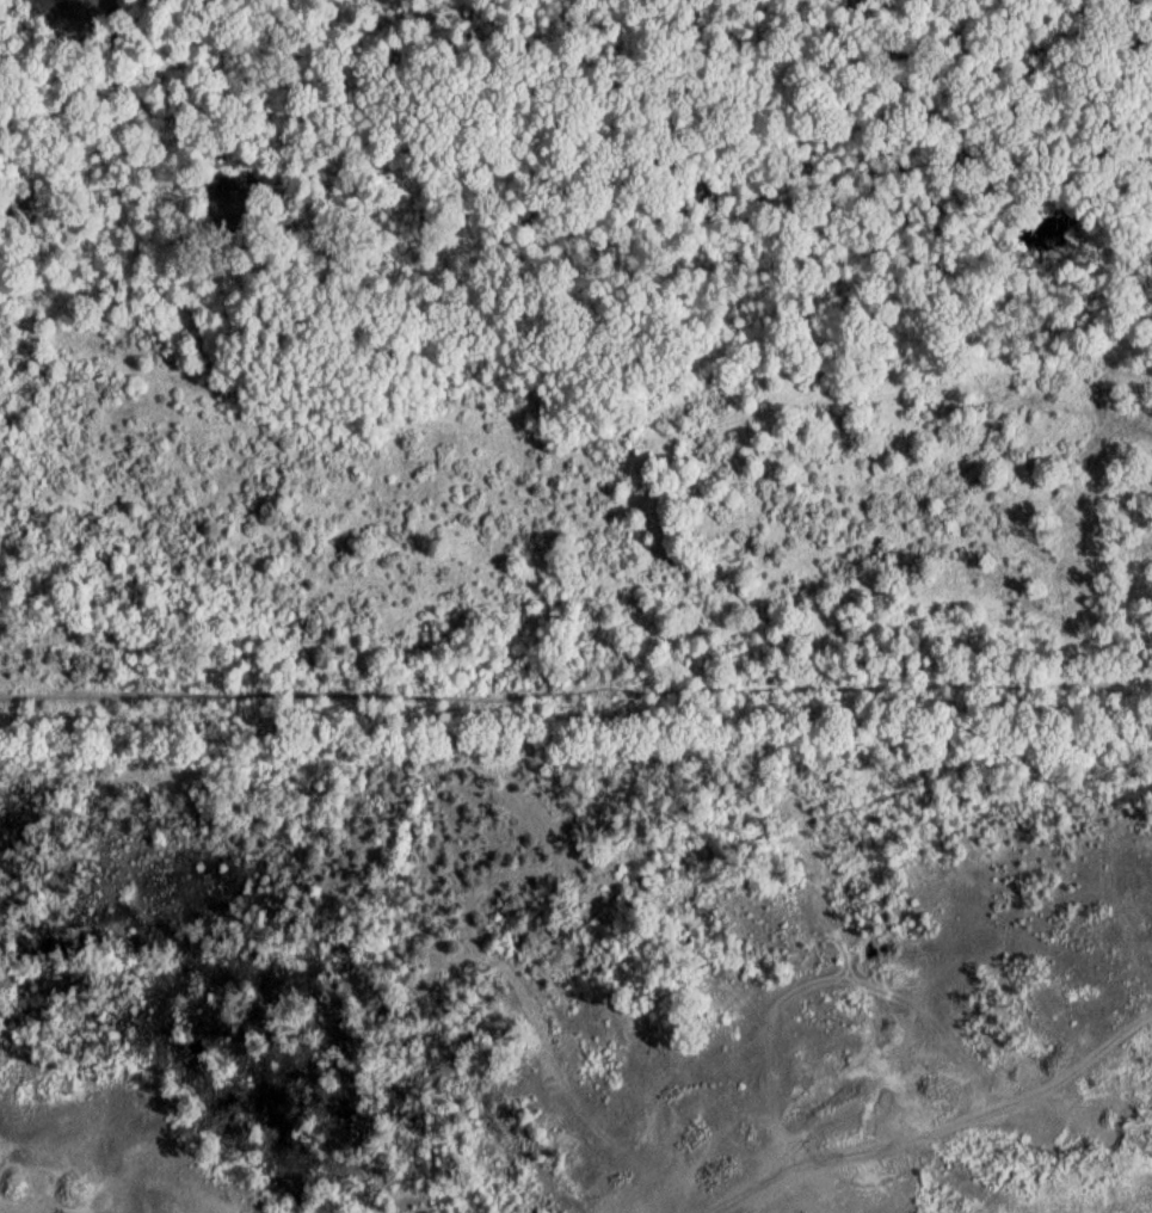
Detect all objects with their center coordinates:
road: (575, 700)

